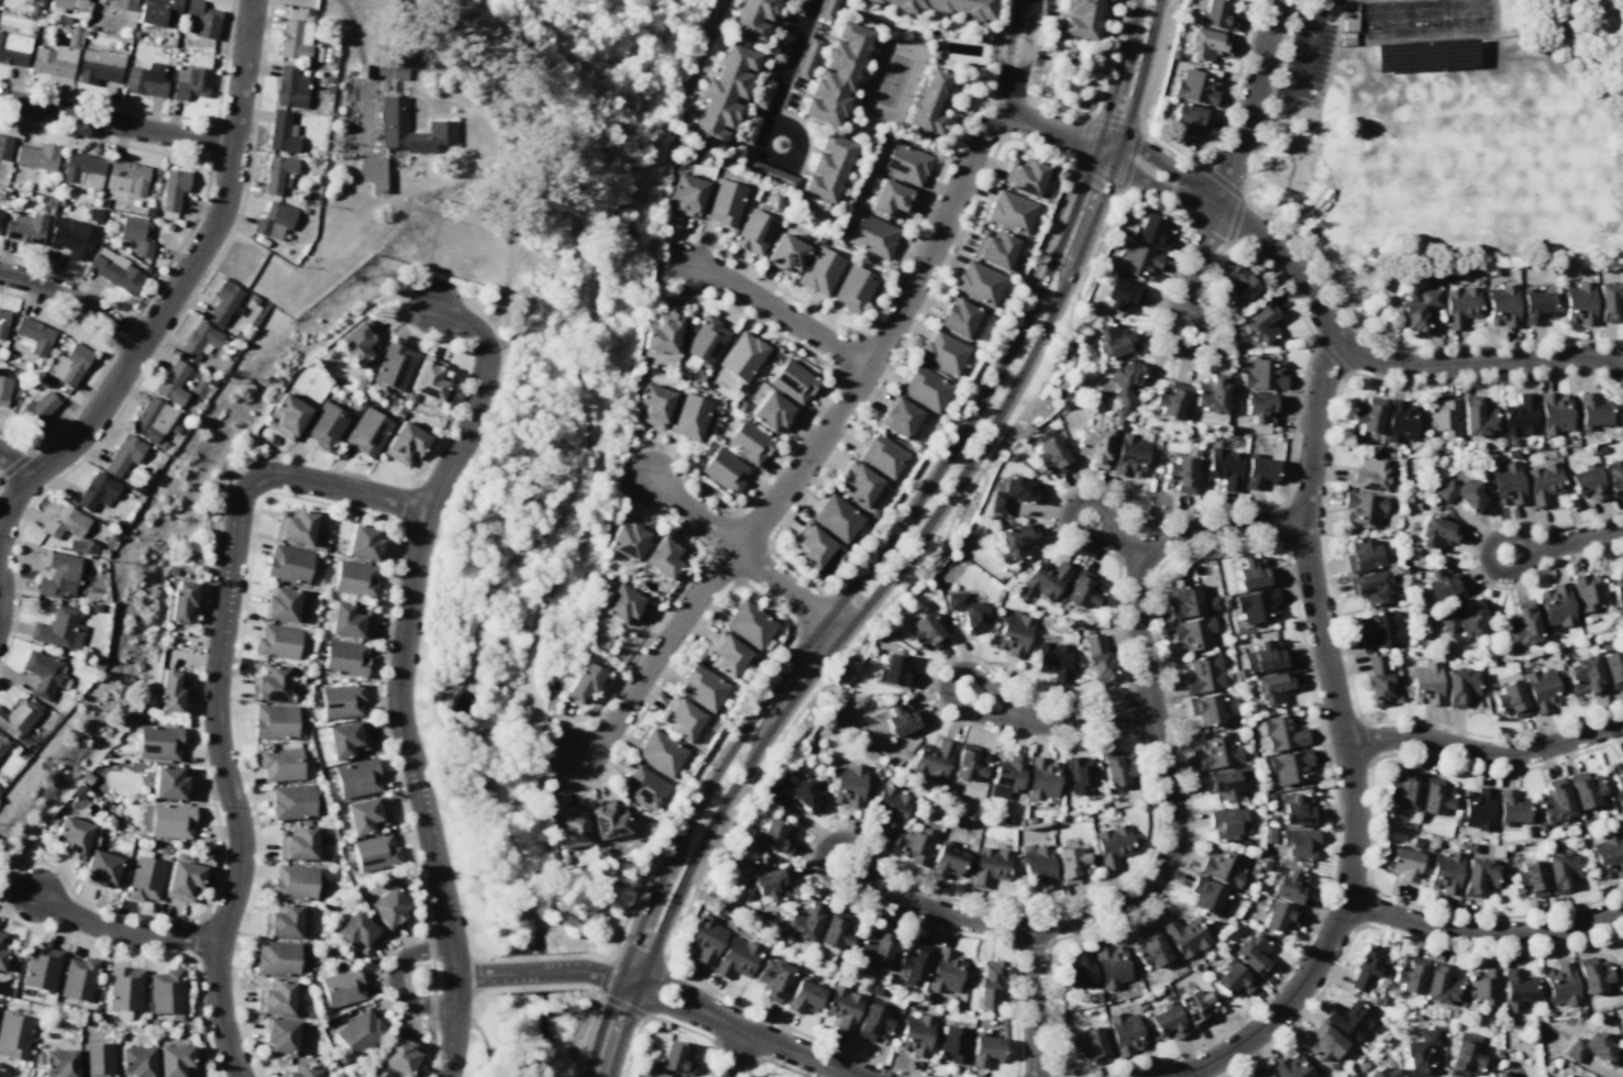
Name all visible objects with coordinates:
building: (70, 4)
building: (124, 4)
building: (797, 7)
building: (946, 7)
building: (827, 9)
building: (158, 12)
building: (1215, 14)
building: (752, 18)
building: (201, 19)
building: (1081, 19)
building: (296, 38)
building: (1205, 44)
building: (781, 46)
parking lot: (1310, 47)
building: (13, 48)
building: (1175, 55)
road: (1014, 56)
building: (806, 57)
building: (53, 60)
building: (98, 66)
road: (1303, 66)
building: (376, 70)
road: (786, 70)
building: (836, 75)
building: (145, 80)
building: (189, 82)
road: (1235, 86)
building: (1195, 87)
building: (290, 88)
building: (762, 93)
building: (722, 95)
road: (1146, 101)
building: (929, 103)
road: (1251, 104)
road: (1289, 116)
building: (1190, 119)
road: (117, 121)
building: (394, 126)
road: (1620, 127)
building: (748, 129)
building: (281, 133)
road: (981, 138)
building: (4, 147)
building: (36, 156)
park: (1446, 158)
building: (905, 164)
road: (1084, 165)
building: (827, 168)
building: (82, 169)
building: (277, 173)
building: (373, 174)
building: (1024, 176)
building: (128, 177)
building: (173, 188)
building: (686, 195)
road: (1244, 196)
road: (1241, 197)
building: (891, 198)
road: (1334, 199)
building: (724, 202)
building: (1011, 211)
building: (0, 214)
building: (274, 220)
building: (25, 229)
building: (1151, 231)
building: (753, 232)
building: (136, 234)
building: (873, 235)
building: (73, 237)
road: (1202, 246)
building: (993, 248)
building: (786, 254)
building: (1136, 260)
building: (114, 269)
building: (820, 270)
building: (979, 282)
building: (1238, 286)
building: (853, 288)
building: (1122, 295)
building: (1610, 300)
road: (76, 301)
building: (223, 302)
road: (1178, 302)
building: (1579, 303)
building: (1535, 304)
building: (1460, 306)
building: (1502, 306)
building: (1417, 308)
road: (779, 310)
building: (958, 318)
building: (3, 322)
road: (159, 322)
building: (1261, 323)
building: (662, 334)
building: (34, 335)
building: (1113, 340)
building: (199, 341)
building: (358, 342)
road: (1502, 344)
building: (943, 352)
building: (742, 356)
building: (68, 365)
building: (395, 365)
road: (598, 373)
building: (1263, 374)
building: (431, 378)
building: (793, 381)
building: (1124, 381)
building: (173, 382)
building: (925, 388)
road: (972, 389)
building: (3, 390)
building: (1211, 395)
building: (1170, 400)
building: (652, 406)
building: (1261, 407)
building: (37, 408)
building: (1591, 410)
building: (771, 412)
building: (1554, 413)
building: (1368, 414)
building: (1520, 415)
building: (287, 417)
building: (688, 417)
building: (898, 417)
building: (1443, 417)
building: (1477, 417)
building: (152, 420)
building: (1400, 421)
building: (325, 425)
building: (368, 431)
building: (749, 442)
building: (406, 443)
building: (1093, 445)
building: (123, 454)
building: (883, 455)
building: (1052, 456)
building: (1129, 456)
road: (314, 462)
road: (14, 463)
building: (1225, 467)
building: (725, 470)
building: (1259, 471)
building: (1180, 474)
building: (1367, 474)
building: (1613, 475)
building: (1543, 482)
building: (858, 484)
building: (1506, 484)
building: (1586, 484)
building: (97, 491)
building: (1460, 493)
building: (1013, 495)
road: (341, 507)
building: (1362, 508)
road: (693, 509)
building: (836, 518)
building: (66, 523)
building: (296, 526)
building: (1435, 533)
road: (1116, 535)
park: (465, 536)
building: (627, 541)
building: (1016, 541)
road: (1566, 542)
building: (365, 543)
building: (80, 545)
building: (809, 545)
road: (884, 549)
road: (907, 551)
building: (663, 555)
building: (1361, 555)
road: (931, 562)
building: (288, 564)
building: (173, 569)
building: (1250, 573)
building: (59, 576)
building: (355, 578)
building: (1046, 579)
building: (1442, 582)
building: (1370, 587)
building: (1082, 589)
road: (788, 590)
building: (1618, 590)
building: (1588, 591)
building: (183, 599)
building: (1185, 601)
building: (281, 602)
building: (621, 603)
building: (1212, 603)
building: (1556, 604)
building: (1257, 607)
building: (967, 612)
road: (810, 614)
building: (350, 619)
building: (1462, 619)
building: (749, 624)
building: (1521, 624)
building: (59, 629)
building: (1380, 630)
building: (926, 633)
building: (1013, 633)
building: (1193, 633)
building: (278, 641)
building: (725, 653)
building: (1263, 656)
building: (346, 657)
building: (1097, 659)
building: (1053, 660)
building: (1613, 667)
building: (895, 670)
building: (43, 673)
road: (400, 674)
building: (1203, 675)
building: (1585, 676)
building: (1378, 680)
building: (584, 681)
building: (270, 682)
building: (1425, 682)
building: (1459, 686)
building: (703, 687)
building: (1272, 688)
road: (214, 689)
building: (1541, 689)
building: (169, 690)
building: (1510, 699)
building: (342, 700)
building: (1204, 709)
building: (19, 717)
building: (682, 718)
road: (1053, 718)
building: (902, 719)
building: (275, 720)
building: (1282, 733)
building: (347, 739)
building: (158, 742)
building: (2, 744)
road: (1347, 744)
building: (1217, 752)
building: (660, 753)
road: (1486, 753)
road: (556, 757)
building: (932, 759)
building: (969, 763)
building: (281, 764)
building: (1290, 767)
building: (1116, 768)
building: (1081, 774)
building: (1006, 776)
building: (357, 777)
building: (1616, 777)
building: (1042, 778)
building: (169, 781)
building: (1221, 784)
building: (848, 785)
building: (644, 786)
building: (1586, 789)
building: (1402, 792)
building: (797, 795)
building: (1435, 796)
building: (294, 800)
building: (106, 801)
building: (1554, 801)
road: (1174, 804)
building: (1510, 807)
building: (891, 808)
building: (1296, 809)
building: (1478, 809)
building: (366, 814)
building: (168, 819)
building: (607, 819)
building: (1227, 823)
building: (571, 828)
building: (1622, 833)
building: (73, 836)
building: (773, 836)
building: (298, 843)
building: (1299, 843)
building: (917, 844)
building: (1112, 845)
building: (163, 848)
road: (658, 850)
building: (376, 853)
building: (1608, 855)
road: (550, 862)
building: (947, 862)
building: (1404, 864)
building: (1071, 865)
building: (990, 866)
building: (1223, 866)
building: (1038, 867)
building: (100, 869)
building: (1561, 869)
building: (1445, 871)
building: (1479, 876)
building: (145, 878)
building: (1530, 878)
road: (596, 879)
building: (184, 880)
building: (295, 882)
building: (771, 882)
building: (1289, 886)
building: (1206, 896)
building: (390, 907)
building: (1278, 918)
building: (283, 921)
building: (804, 921)
building: (836, 931)
road: (1390, 931)
road: (124, 932)
road: (1482, 932)
building: (357, 933)
building: (2, 934)
building: (1185, 936)
road: (431, 939)
building: (705, 939)
building: (1622, 946)
building: (1150, 948)
building: (874, 951)
building: (1251, 953)
building: (2, 954)
building: (277, 956)
building: (736, 958)
building: (914, 961)
building: (1112, 965)
building: (1621, 965)
building: (41, 967)
building: (1367, 967)
building: (1079, 970)
building: (945, 971)
building: (1410, 974)
building: (1592, 975)
road: (433, 977)
building: (79, 978)
building: (773, 978)
road: (396, 979)
building: (1233, 980)
building: (989, 984)
building: (1442, 984)
building: (1486, 985)
building: (1561, 985)
building: (124, 987)
building: (343, 987)
road: (530, 987)
building: (1517, 988)
building: (167, 990)
road: (662, 996)
building: (276, 997)
building: (804, 997)
building: (1374, 999)
road: (1031, 1000)
building: (1383, 1000)
building: (842, 1007)
building: (1195, 1007)
road: (631, 1009)
building: (1446, 1012)
building: (310, 1013)
building: (176, 1015)
road: (434, 1015)
building: (1350, 1020)
building: (155, 1022)
building: (1167, 1022)
building: (873, 1023)
building: (1622, 1023)
building: (1621, 1030)
building: (361, 1031)
building: (1125, 1033)
building: (14, 1034)
building: (281, 1034)
building: (915, 1035)
building: (1325, 1041)
road: (484, 1042)
building: (952, 1044)
building: (1091, 1045)
road: (633, 1046)
building: (1593, 1048)
building: (985, 1050)
building: (1421, 1052)
road: (732, 1054)
building: (401, 1055)
building: (1466, 1055)
building: (38, 1057)
building: (675, 1057)
building: (342, 1058)
building: (98, 1059)
building: (137, 1061)
building: (176, 1061)
building: (59, 1063)
building: (1362, 1065)
building: (1293, 1067)
building: (302, 1072)
building: (1383, 1073)
building: (655, 1074)
building: (1266, 1074)
building: (1505, 1074)
building: (1352, 1075)
building: (1571, 1075)

